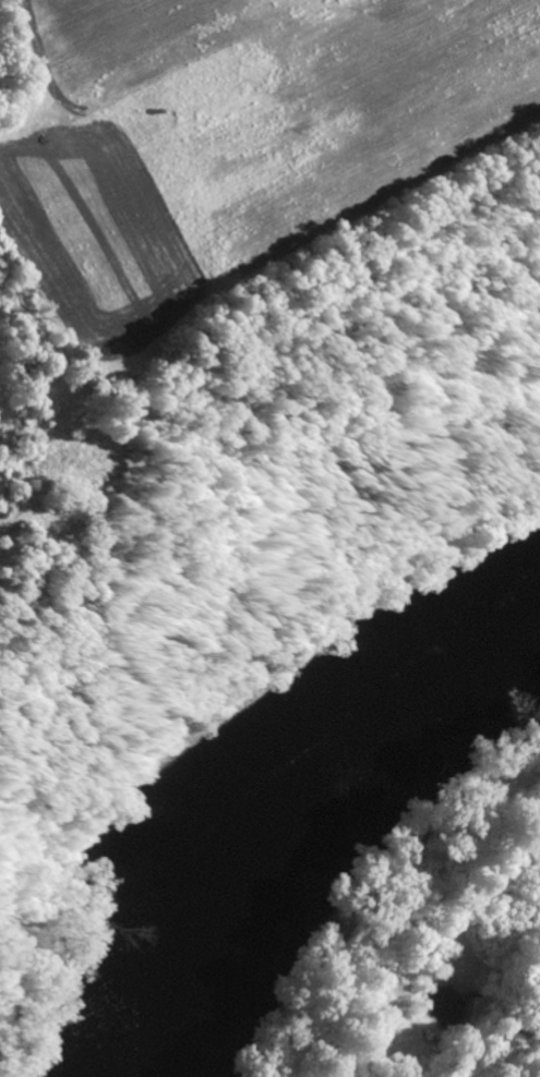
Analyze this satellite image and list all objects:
river: (276, 842)

